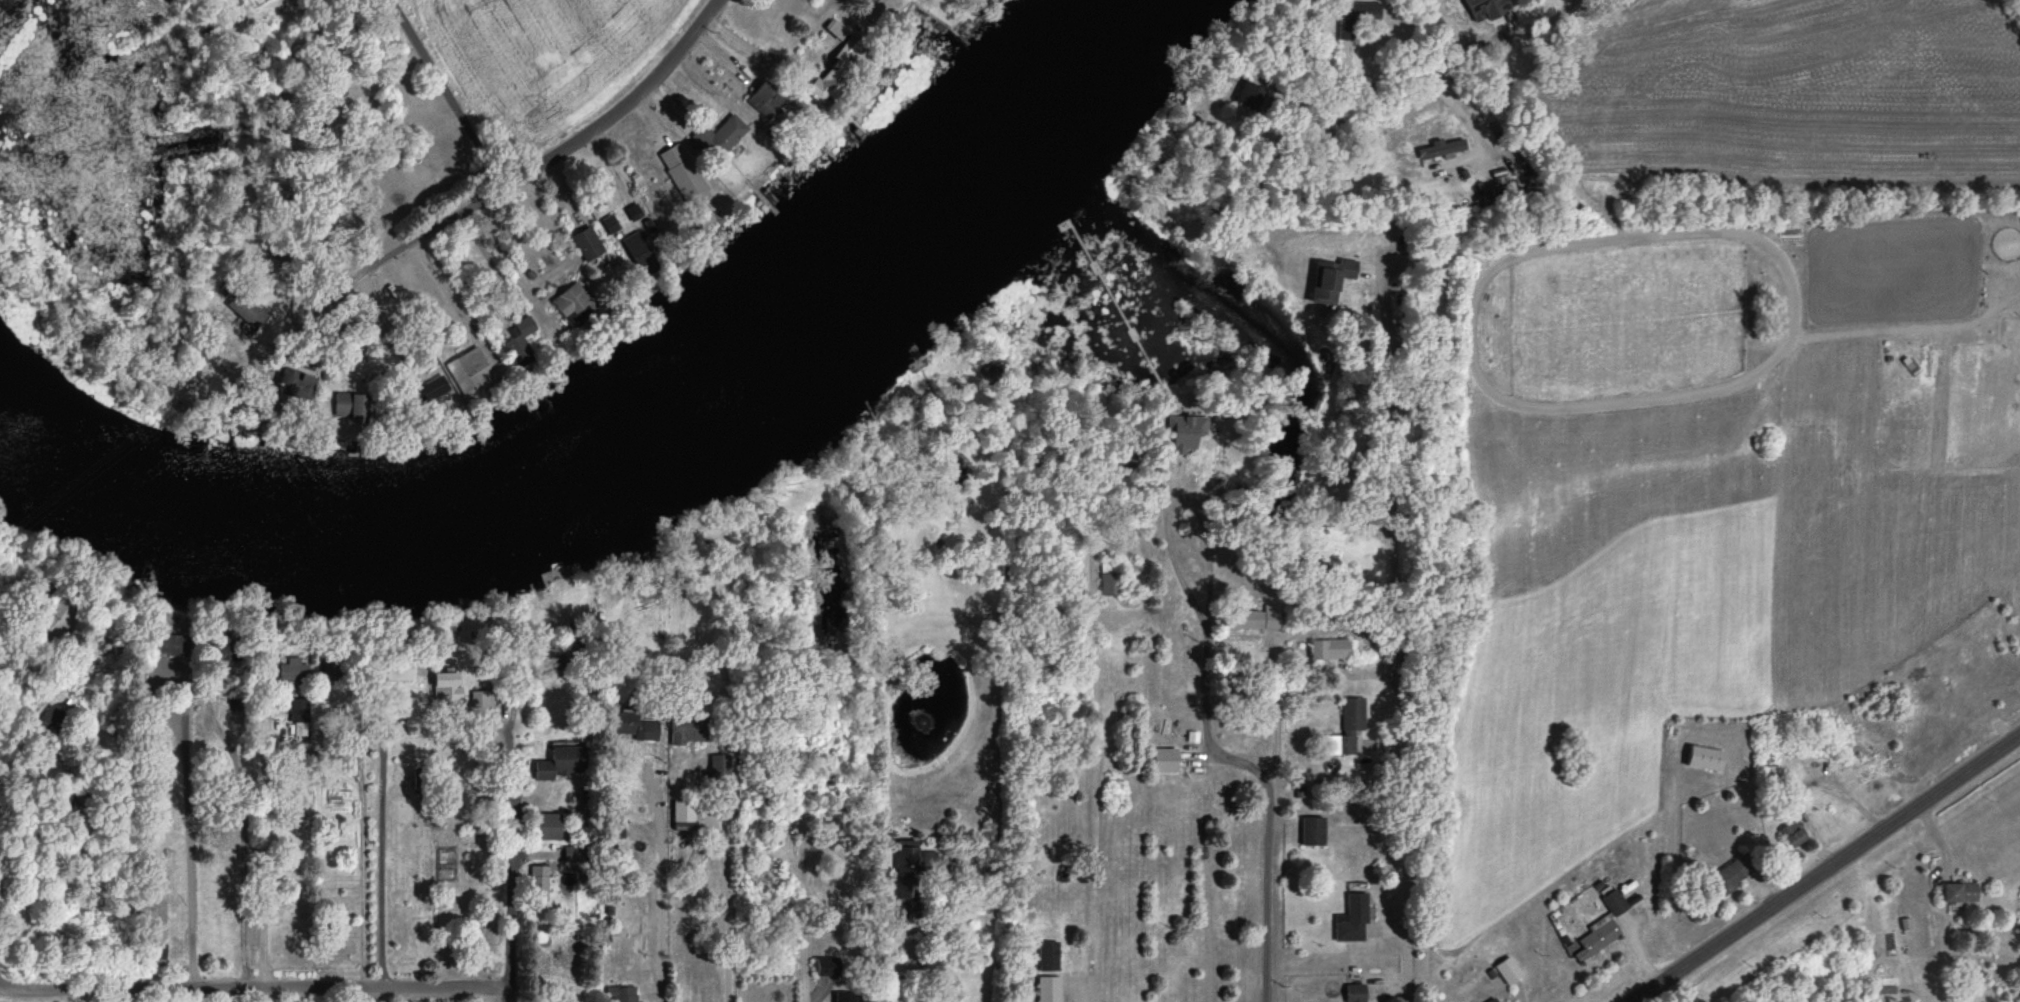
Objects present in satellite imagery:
building: (1354, 17)
road: (763, 55)
building: (835, 68)
building: (334, 87)
road: (1403, 95)
building: (1249, 96)
building: (764, 100)
building: (316, 125)
building: (717, 138)
building: (1441, 148)
road: (539, 164)
building: (683, 175)
building: (586, 244)
building: (633, 245)
road: (404, 247)
road: (507, 262)
building: (1328, 280)
road: (442, 287)
building: (569, 301)
building: (245, 311)
building: (519, 342)
building: (466, 370)
building: (430, 386)
building: (299, 387)
building: (351, 406)
building: (1185, 433)
river: (637, 452)
building: (1109, 579)
building: (59, 610)
building: (667, 613)
building: (1244, 619)
road: (1396, 632)
building: (163, 645)
road: (1207, 647)
building: (1329, 649)
building: (218, 651)
building: (391, 671)
building: (291, 673)
building: (445, 687)
building: (298, 717)
building: (55, 720)
building: (633, 728)
building: (1345, 729)
building: (686, 732)
building: (1704, 759)
building: (1163, 760)
building: (560, 764)
building: (1770, 775)
building: (764, 801)
building: (682, 812)
building: (544, 827)
building: (615, 831)
building: (1312, 831)
building: (1792, 834)
road: (186, 840)
road: (1276, 845)
road: (378, 851)
road: (260, 852)
road: (508, 852)
road: (1822, 867)
building: (1727, 877)
building: (910, 879)
road: (802, 882)
building: (537, 883)
building: (1958, 893)
building: (1614, 903)
road: (726, 906)
road: (659, 908)
building: (1352, 920)
building: (1598, 939)
building: (154, 951)
road: (932, 951)
building: (1048, 957)
building: (827, 967)
building: (1506, 971)
road: (2, 985)
road: (252, 987)
building: (1048, 989)
building: (1355, 993)
building: (623, 994)
road: (1068, 996)
building: (843, 997)
building: (1492, 1000)

